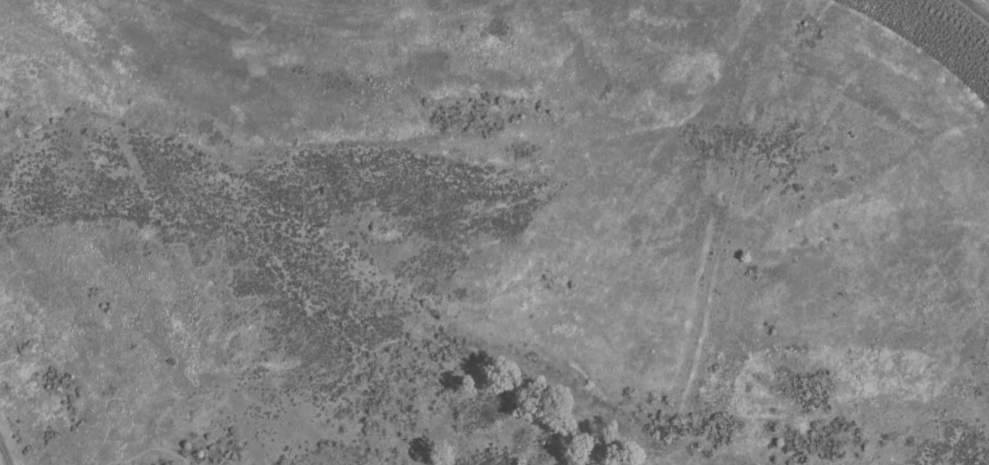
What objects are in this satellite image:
road: (977, 10)
road: (3, 456)

